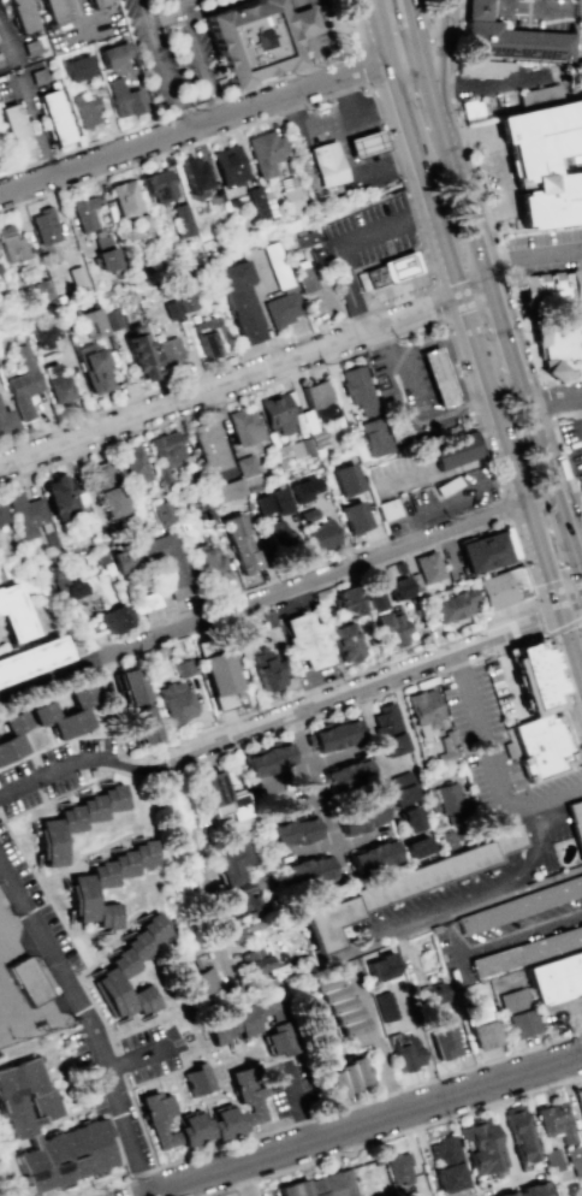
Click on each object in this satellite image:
building: (505, 0)
building: (95, 2)
road: (185, 4)
road: (295, 5)
road: (453, 6)
road: (476, 7)
road: (208, 8)
road: (535, 8)
building: (53, 10)
building: (20, 14)
parking lot: (539, 14)
road: (164, 17)
road: (302, 22)
road: (333, 26)
building: (507, 37)
building: (255, 39)
road: (430, 47)
parking lot: (171, 52)
building: (112, 55)
road: (422, 55)
road: (439, 55)
road: (315, 58)
road: (197, 59)
road: (363, 64)
road: (160, 65)
building: (77, 67)
building: (481, 67)
building: (577, 70)
road: (503, 85)
building: (538, 93)
building: (124, 97)
building: (469, 109)
building: (85, 111)
road: (182, 111)
building: (54, 117)
parking lot: (332, 118)
road: (209, 123)
building: (14, 130)
building: (364, 143)
road: (449, 144)
building: (266, 152)
building: (544, 162)
building: (326, 164)
building: (228, 165)
road: (498, 171)
building: (195, 178)
building: (156, 185)
road: (481, 194)
building: (125, 197)
building: (259, 200)
building: (295, 200)
road: (414, 218)
building: (182, 219)
building: (44, 226)
parking lot: (368, 232)
road: (474, 233)
building: (307, 237)
road: (339, 244)
building: (11, 245)
road: (437, 248)
parking lot: (545, 250)
building: (105, 253)
road: (531, 254)
building: (277, 265)
building: (393, 267)
building: (76, 274)
building: (304, 279)
building: (550, 285)
building: (41, 289)
building: (239, 300)
building: (185, 302)
road: (440, 303)
building: (281, 308)
building: (172, 309)
building: (112, 319)
building: (90, 321)
building: (46, 333)
building: (210, 336)
road: (509, 345)
building: (559, 345)
building: (168, 350)
building: (139, 351)
building: (93, 367)
road: (315, 367)
road: (244, 375)
building: (435, 378)
road: (562, 380)
building: (55, 381)
building: (23, 384)
road: (554, 398)
road: (546, 399)
building: (367, 404)
building: (277, 414)
building: (6, 421)
building: (244, 425)
parking lot: (426, 426)
parking lot: (571, 442)
building: (208, 445)
building: (295, 449)
building: (455, 449)
building: (166, 452)
road: (560, 452)
building: (135, 463)
building: (247, 464)
building: (346, 479)
building: (578, 482)
road: (554, 486)
building: (304, 489)
building: (108, 490)
building: (228, 490)
building: (59, 497)
building: (271, 503)
road: (504, 508)
building: (387, 509)
building: (162, 511)
building: (2, 514)
building: (25, 514)
building: (354, 516)
building: (277, 533)
building: (322, 534)
road: (512, 534)
road: (577, 540)
building: (239, 543)
road: (538, 550)
building: (483, 552)
building: (210, 562)
building: (171, 567)
building: (427, 567)
road: (310, 581)
building: (399, 587)
building: (500, 587)
building: (375, 598)
building: (348, 599)
building: (143, 602)
building: (453, 605)
traffic signals: (558, 609)
building: (16, 610)
building: (114, 618)
building: (392, 629)
road: (546, 634)
building: (307, 638)
building: (345, 640)
road: (498, 645)
road: (569, 647)
building: (32, 657)
building: (183, 668)
building: (268, 669)
road: (355, 673)
road: (49, 674)
building: (534, 676)
building: (222, 677)
road: (378, 682)
building: (132, 683)
road: (509, 683)
parking lot: (504, 689)
road: (563, 697)
building: (176, 701)
road: (352, 703)
building: (426, 707)
building: (67, 712)
building: (144, 723)
building: (390, 729)
building: (12, 735)
building: (335, 735)
building: (449, 739)
parking lot: (491, 750)
building: (541, 750)
building: (446, 757)
road: (78, 760)
building: (268, 760)
road: (307, 766)
road: (492, 770)
building: (349, 776)
road: (311, 781)
road: (83, 786)
building: (403, 788)
building: (113, 797)
building: (222, 797)
building: (452, 801)
building: (91, 809)
building: (361, 816)
building: (70, 818)
building: (414, 818)
building: (575, 823)
building: (305, 829)
building: (281, 833)
building: (450, 839)
road: (356, 841)
building: (49, 842)
road: (313, 847)
building: (420, 847)
road: (85, 852)
building: (143, 853)
park: (568, 853)
building: (374, 857)
road: (531, 857)
building: (232, 863)
building: (123, 864)
building: (435, 870)
building: (308, 872)
building: (101, 874)
parking lot: (481, 875)
road: (43, 890)
building: (79, 898)
building: (244, 905)
building: (524, 905)
road: (464, 912)
building: (106, 916)
building: (325, 923)
road: (521, 929)
building: (243, 931)
road: (215, 935)
parking lot: (498, 939)
building: (257, 958)
building: (539, 966)
building: (381, 967)
building: (130, 971)
building: (26, 981)
building: (202, 982)
building: (433, 994)
power substation: (24, 995)
building: (385, 1006)
building: (273, 1010)
building: (517, 1012)
road: (578, 1012)
parking lot: (565, 1017)
building: (232, 1024)
building: (480, 1024)
road: (373, 1037)
building: (281, 1040)
building: (443, 1041)
building: (404, 1050)
road: (138, 1056)
building: (343, 1077)
building: (198, 1079)
road: (114, 1085)
building: (248, 1093)
building: (578, 1101)
road: (296, 1103)
road: (411, 1106)
road: (329, 1112)
building: (554, 1121)
building: (26, 1123)
building: (186, 1124)
road: (415, 1126)
road: (503, 1130)
building: (518, 1132)
building: (480, 1145)
building: (553, 1160)
building: (575, 1160)
building: (446, 1164)
park: (11, 1165)
building: (398, 1168)
building: (323, 1185)
road: (255, 1188)
building: (529, 1190)
parking lot: (230, 1194)
building: (408, 1194)

